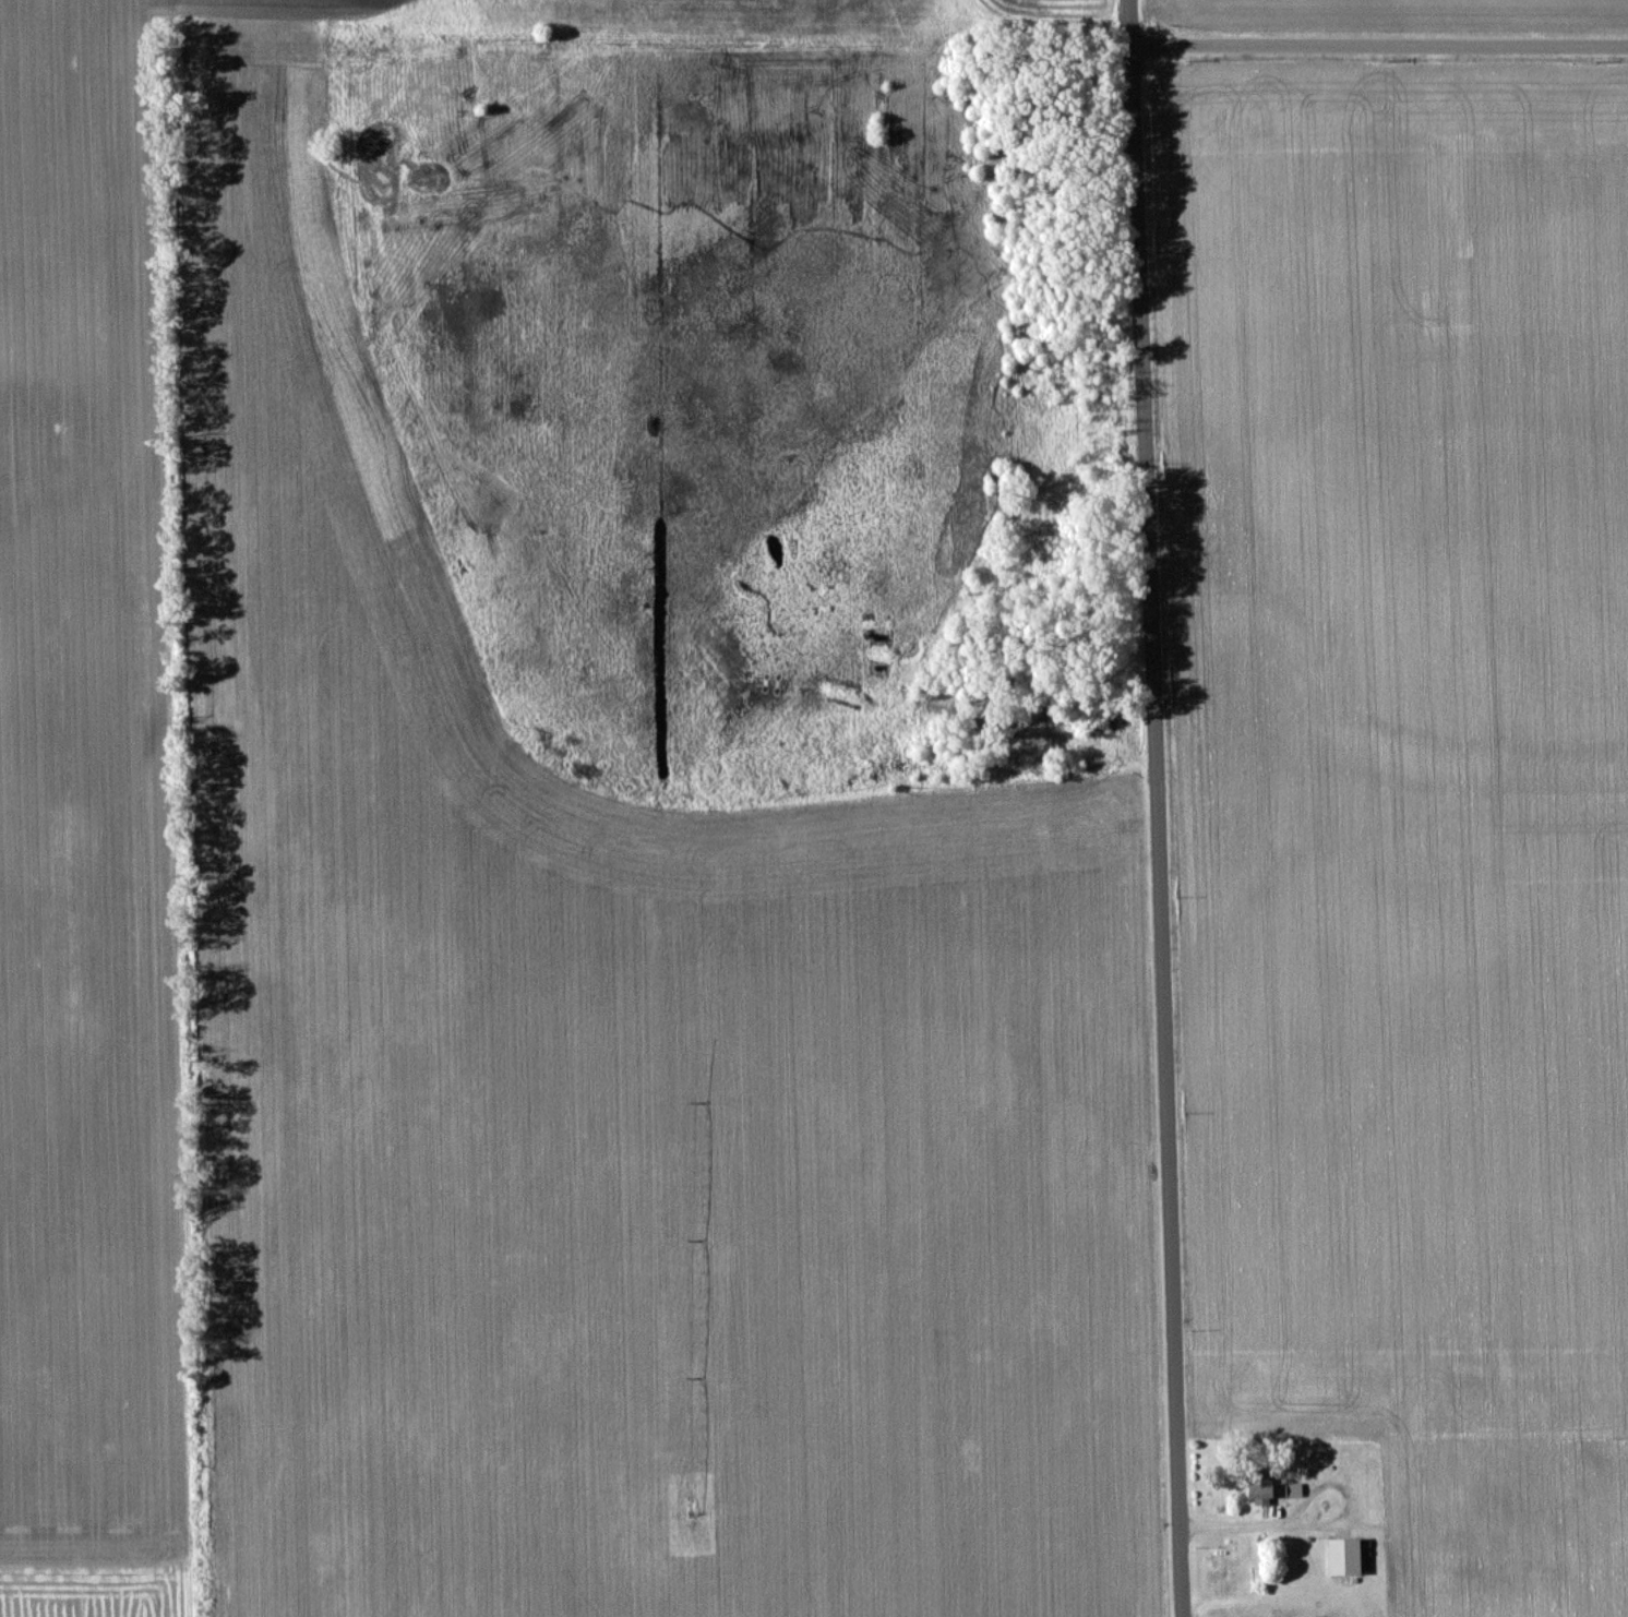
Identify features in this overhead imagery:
road: (1380, 43)
road: (1157, 807)
building: (1274, 1492)
road: (1315, 1525)
building: (1346, 1556)
building: (1346, 1612)

